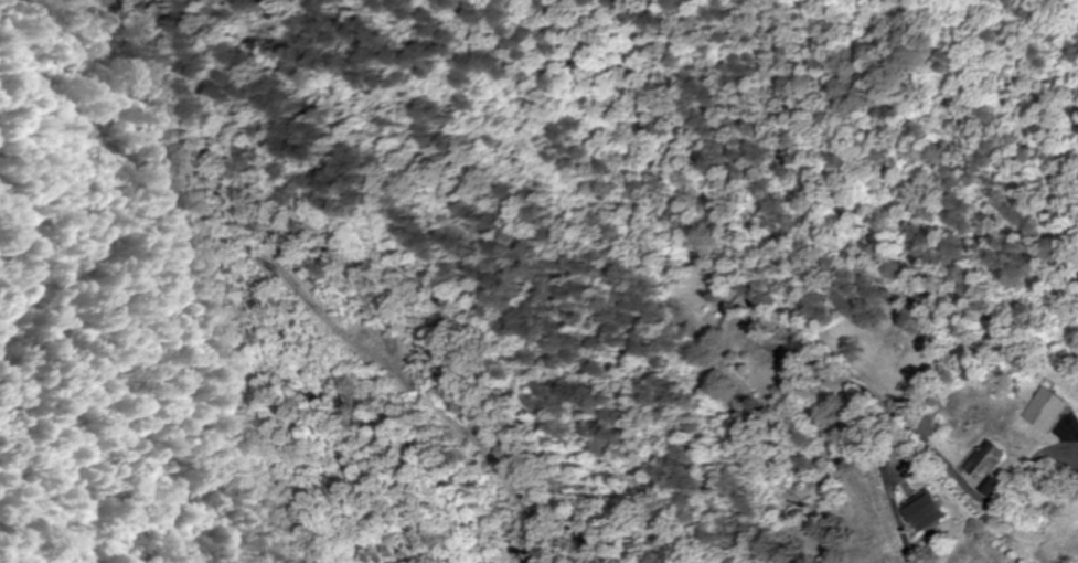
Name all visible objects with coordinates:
building: (1050, 407)
building: (992, 464)
building: (932, 511)
road: (908, 531)

